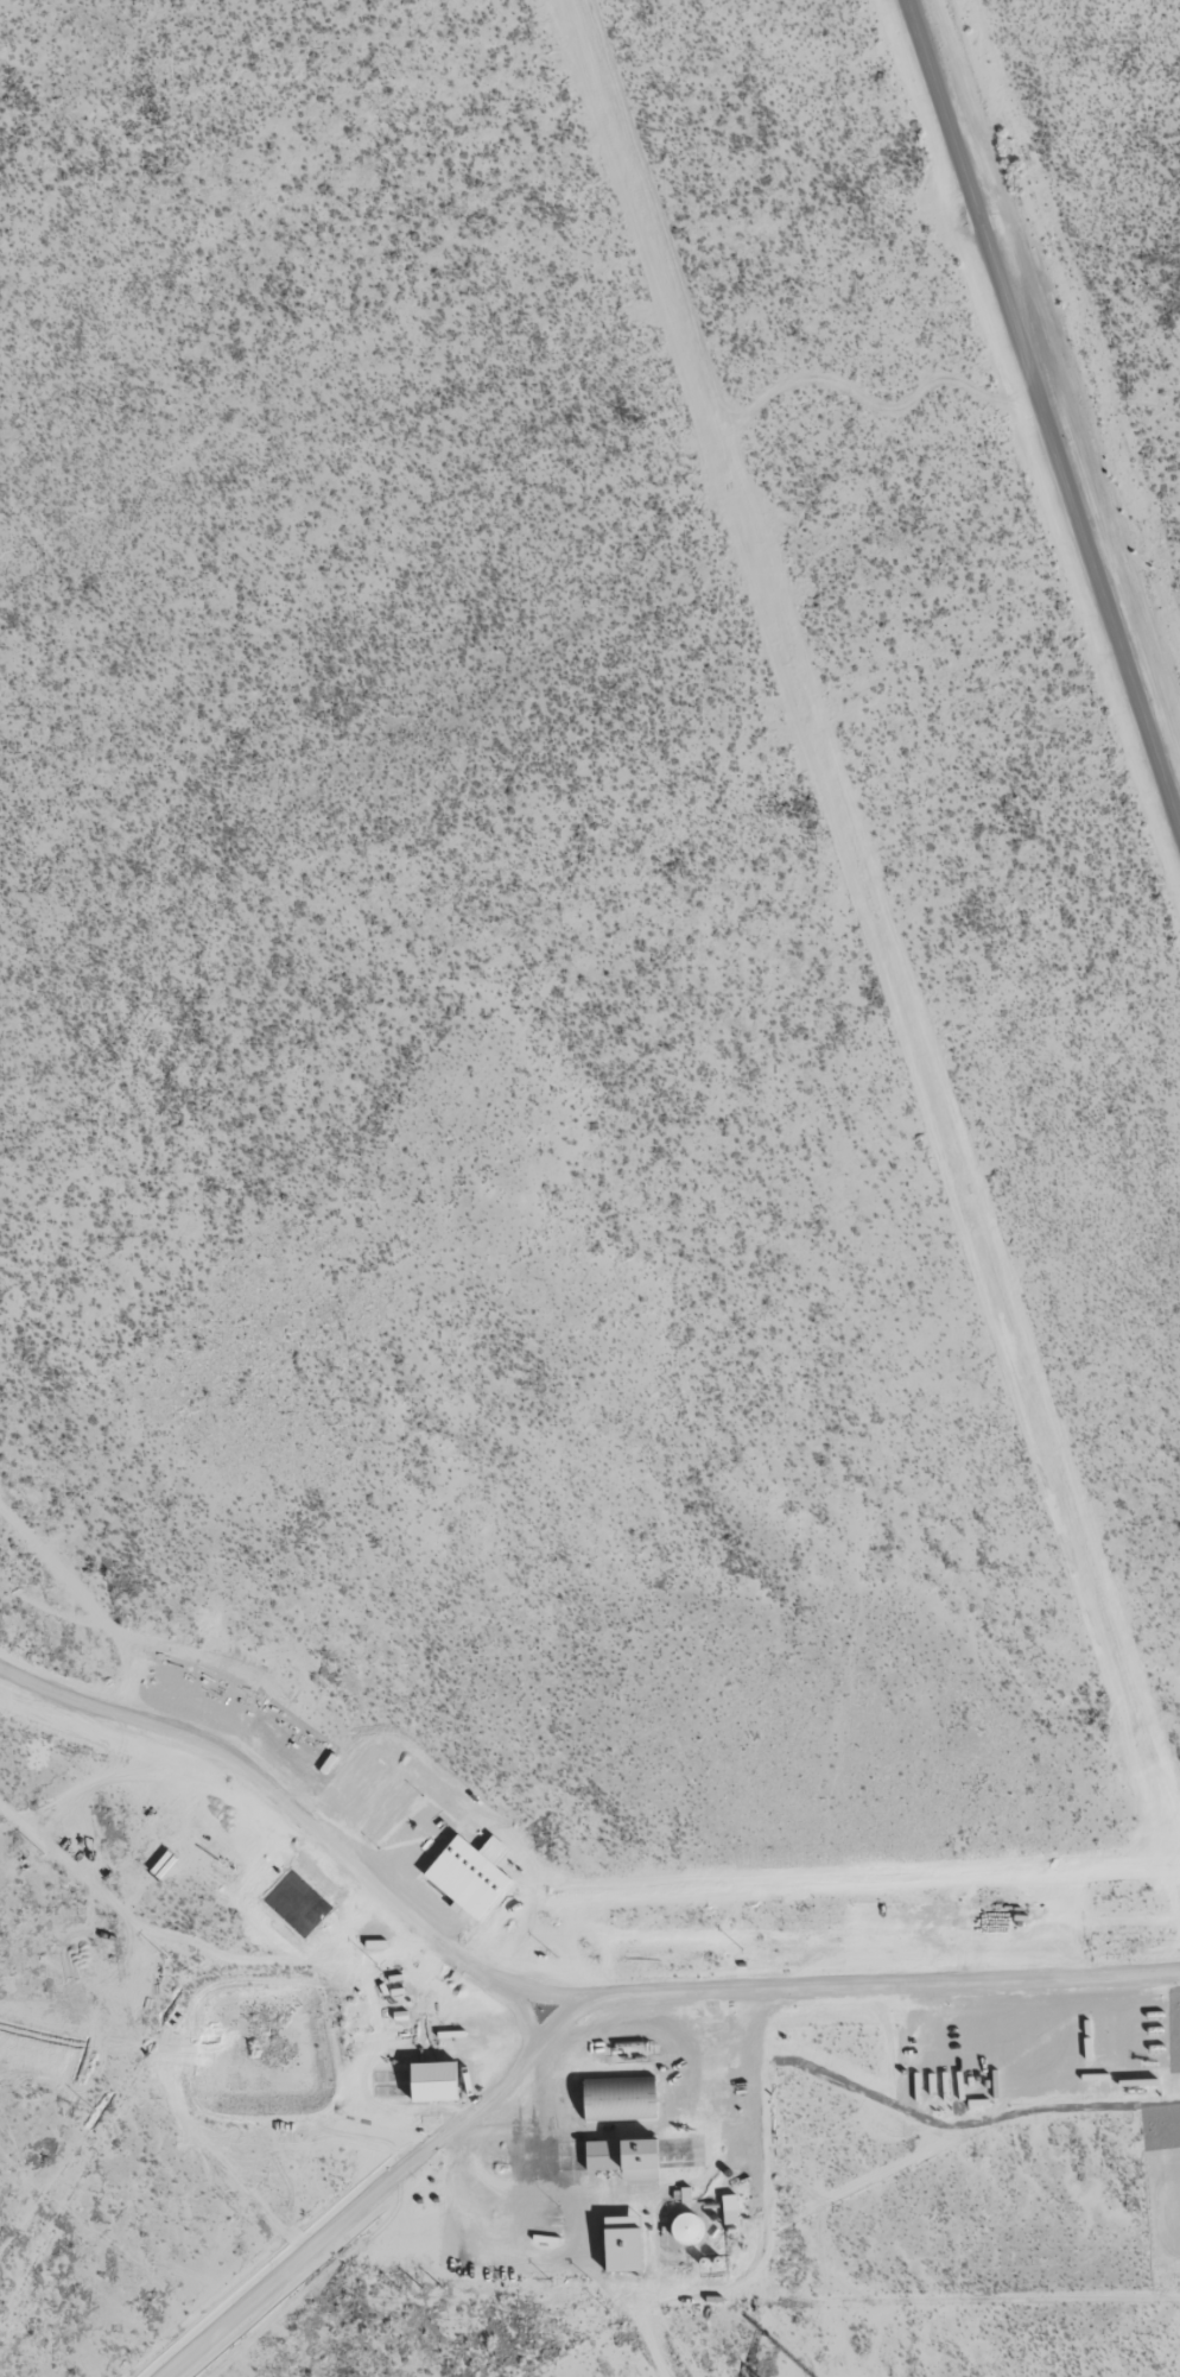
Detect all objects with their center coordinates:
road: (1045, 411)
road: (412, 1921)
road: (751, 1989)
building: (432, 2074)
airport hangar: (617, 2091)
building: (617, 2091)
building: (624, 2150)
road: (372, 2188)
building: (687, 2220)
storage tank: (687, 2220)

